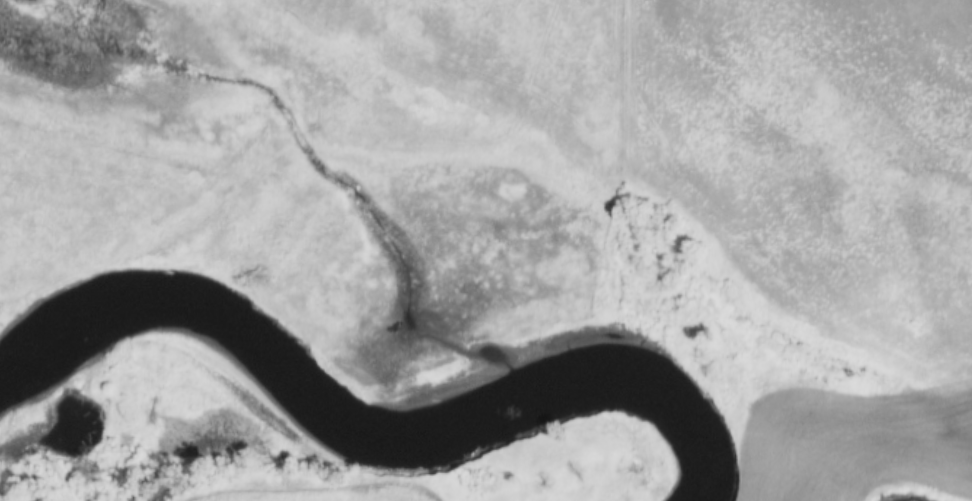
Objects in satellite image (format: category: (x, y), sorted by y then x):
river: (369, 427)

